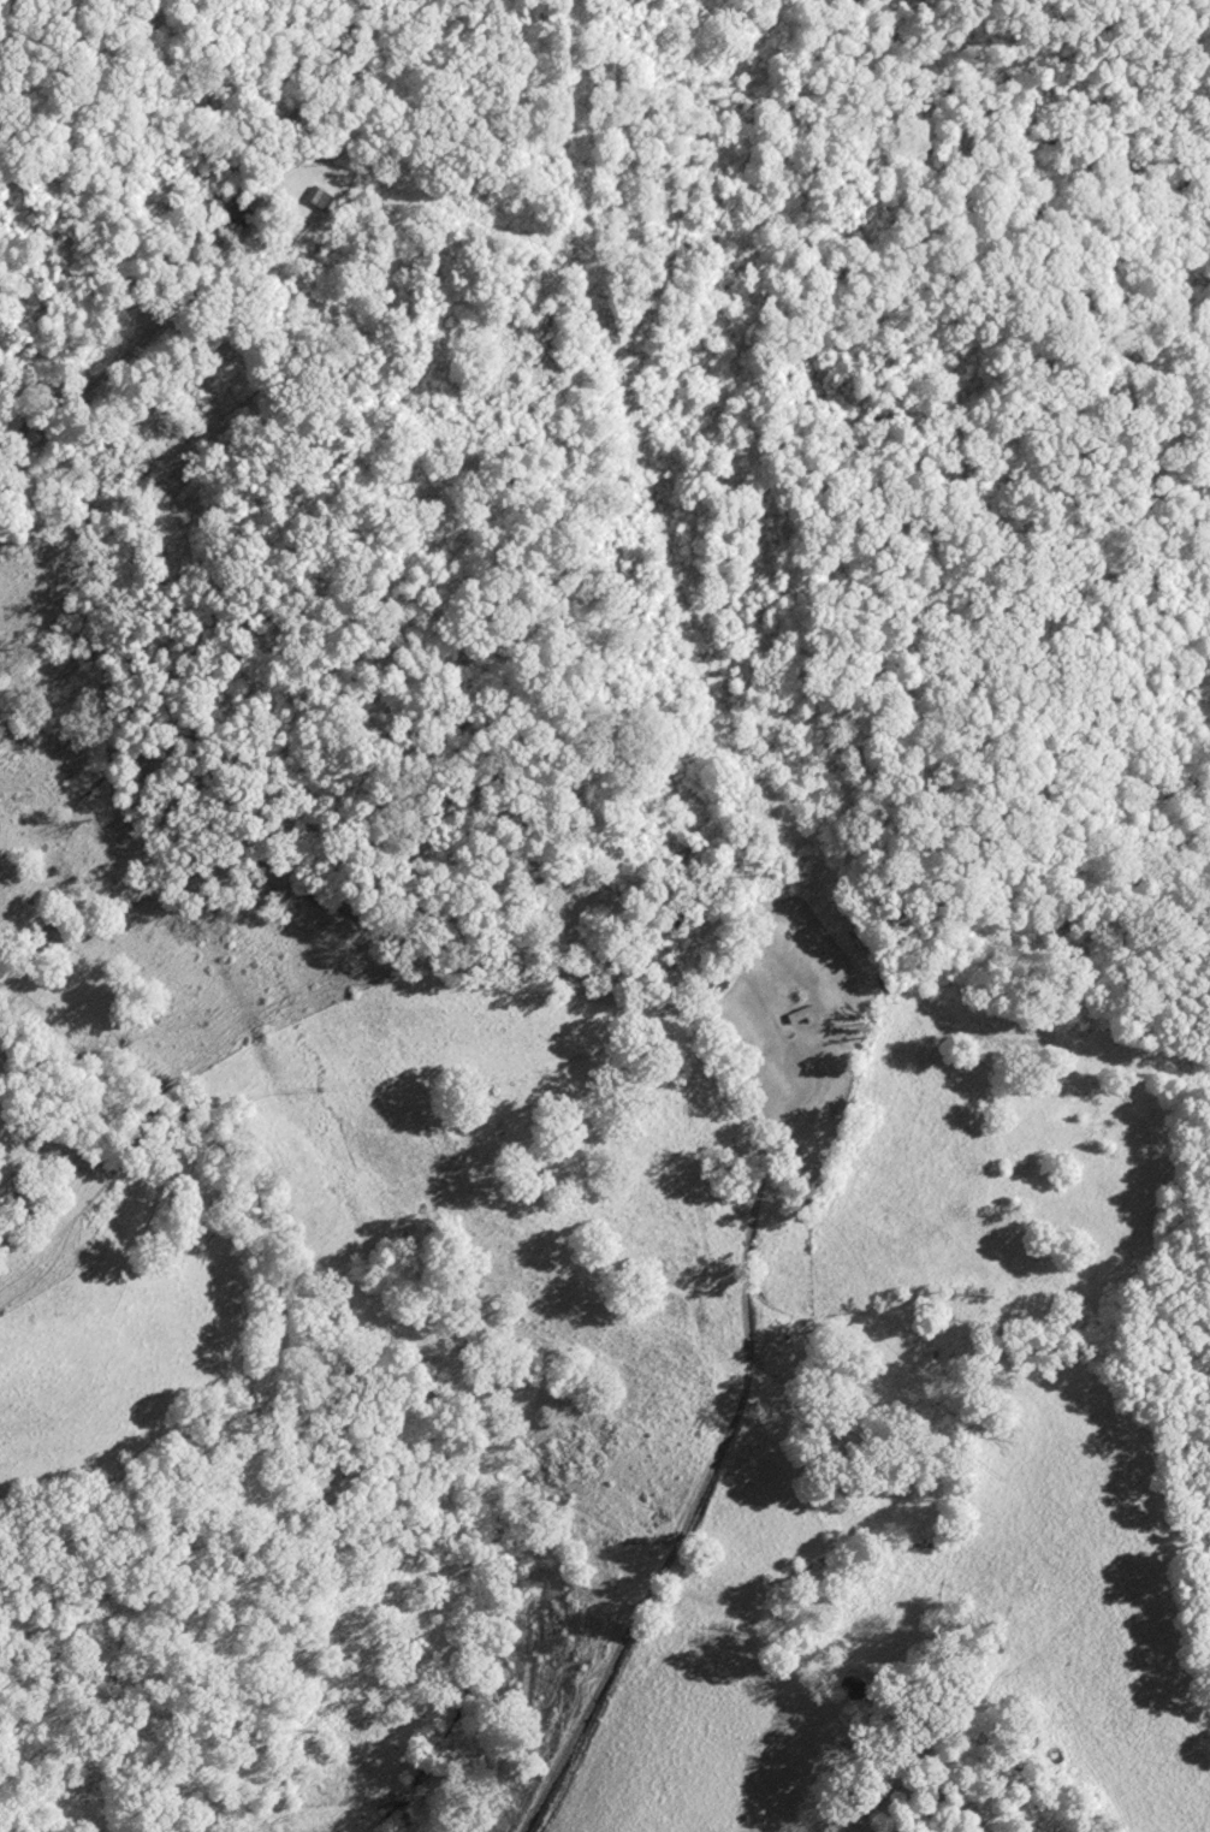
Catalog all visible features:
building: (318, 196)
building: (237, 209)
road: (180, 285)
road: (729, 1089)

